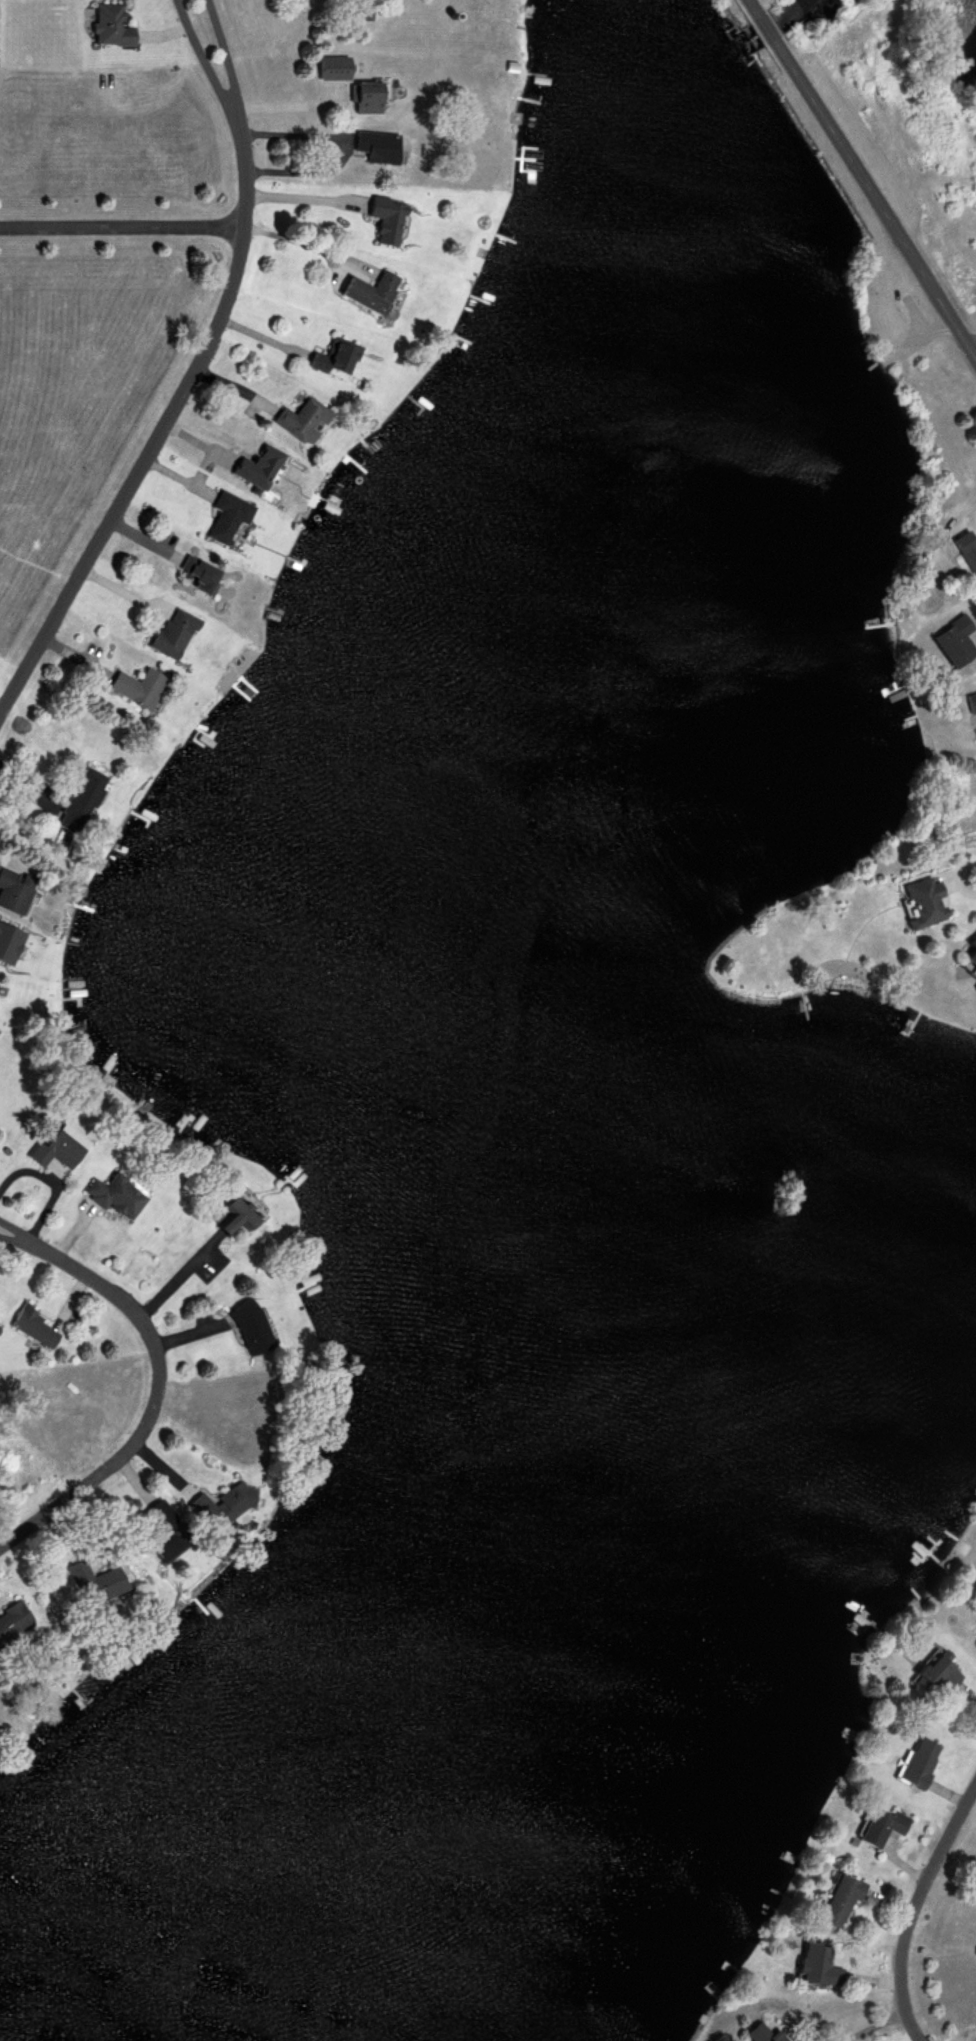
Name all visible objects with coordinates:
road: (750, 8)
building: (354, 14)
building: (108, 27)
road: (763, 29)
road: (221, 54)
road: (199, 56)
building: (330, 69)
building: (366, 98)
building: (374, 147)
road: (302, 199)
road: (873, 200)
building: (383, 221)
road: (121, 228)
park: (28, 240)
road: (295, 241)
building: (365, 293)
road: (973, 348)
building: (332, 360)
building: (298, 421)
road: (162, 428)
building: (254, 469)
building: (223, 521)
building: (965, 551)
building: (190, 576)
building: (167, 634)
building: (953, 642)
building: (135, 688)
building: (970, 704)
building: (75, 802)
road: (963, 878)
building: (13, 894)
building: (924, 903)
building: (970, 953)
river: (367, 974)
building: (974, 992)
building: (54, 1149)
building: (112, 1197)
building: (228, 1218)
road: (11, 1236)
road: (11, 1240)
road: (175, 1278)
building: (30, 1329)
building: (244, 1330)
road: (153, 1394)
building: (216, 1508)
building: (160, 1534)
building: (88, 1585)
building: (11, 1620)
building: (975, 1629)
building: (932, 1673)
building: (917, 1764)
building: (878, 1827)
building: (837, 1900)
road: (910, 1909)
building: (813, 1966)
building: (757, 2034)

